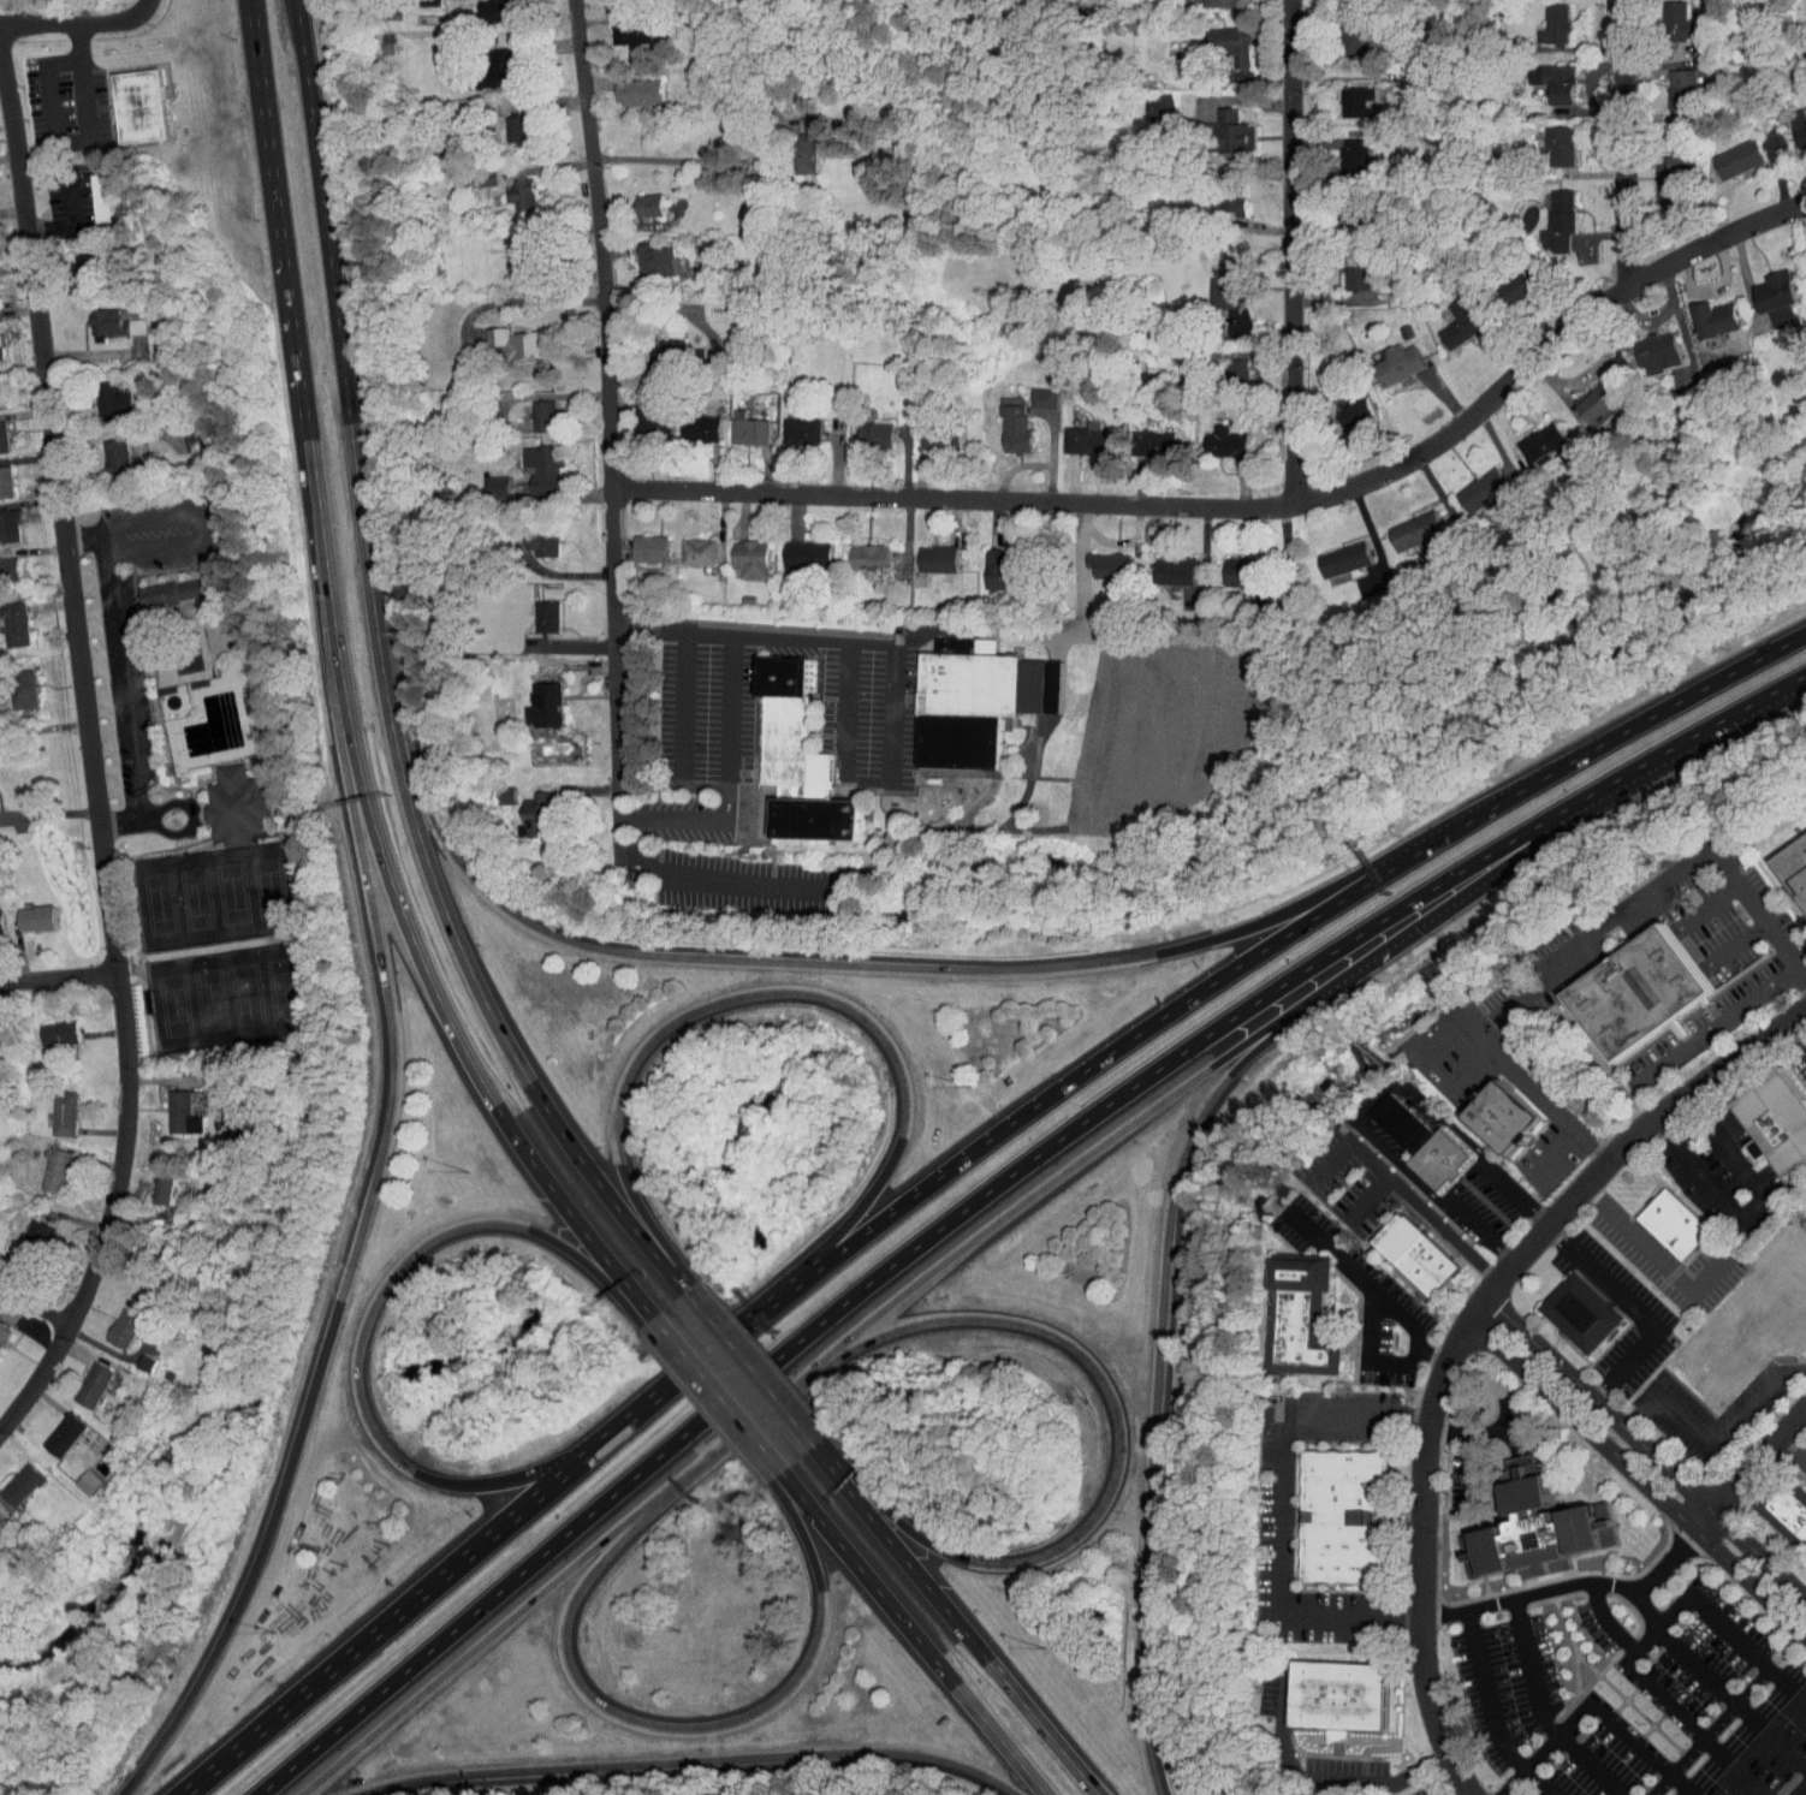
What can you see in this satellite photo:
building: (480, 6)
building: (1665, 17)
building: (1540, 18)
road: (77, 22)
building: (617, 22)
building: (1338, 26)
building: (1218, 38)
building: (482, 61)
building: (1540, 73)
building: (1669, 82)
building: (624, 84)
building: (1343, 94)
building: (1146, 97)
building: (125, 99)
road: (262, 115)
building: (1790, 120)
building: (501, 123)
building: (1217, 125)
building: (1546, 137)
road: (81, 139)
building: (791, 145)
building: (1341, 145)
road: (1628, 145)
building: (1727, 151)
road: (682, 161)
building: (1656, 173)
building: (506, 186)
building: (91, 189)
building: (635, 198)
building: (1342, 208)
road: (321, 210)
road: (1335, 212)
building: (1545, 215)
road: (70, 219)
road: (1294, 249)
building: (509, 254)
building: (643, 254)
building: (1804, 257)
building: (69, 261)
building: (1344, 265)
building: (1214, 277)
building: (1505, 280)
building: (1764, 290)
building: (1703, 311)
building: (1448, 315)
building: (100, 316)
road: (291, 335)
building: (504, 335)
building: (649, 345)
building: (1645, 345)
building: (1385, 357)
building: (1225, 362)
building: (1029, 391)
building: (99, 393)
building: (1586, 397)
building: (1339, 404)
building: (529, 409)
building: (637, 411)
building: (687, 421)
building: (1000, 421)
building: (736, 423)
building: (788, 423)
building: (861, 427)
building: (1071, 430)
building: (183, 432)
building: (927, 432)
road: (608, 435)
building: (1212, 435)
building: (1139, 436)
building: (1531, 438)
building: (101, 450)
building: (530, 462)
road: (1029, 463)
building: (483, 480)
building: (1471, 483)
road: (1253, 507)
building: (2, 519)
building: (1402, 523)
road: (208, 528)
building: (529, 534)
road: (85, 539)
building: (636, 541)
building: (684, 545)
building: (792, 547)
building: (855, 549)
building: (923, 551)
building: (737, 552)
building: (1331, 552)
building: (1095, 558)
building: (1, 561)
building: (985, 563)
building: (1162, 564)
building: (1225, 564)
building: (160, 584)
road: (369, 588)
road: (323, 601)
building: (534, 610)
building: (6, 617)
building: (951, 637)
road: (819, 638)
road: (1781, 647)
parking lot: (125, 679)
road: (124, 680)
building: (10, 682)
road: (1789, 682)
building: (964, 697)
building: (531, 699)
road: (679, 700)
road: (731, 705)
road: (849, 706)
road: (1635, 724)
road: (1685, 738)
building: (801, 759)
road: (93, 760)
building: (491, 787)
building: (239, 806)
building: (523, 809)
road: (49, 813)
road: (129, 813)
road: (191, 819)
road: (1465, 824)
road: (129, 825)
road: (1549, 833)
building: (1793, 868)
road: (1668, 878)
road: (720, 880)
park: (209, 893)
building: (22, 911)
road: (1285, 911)
road: (447, 922)
road: (1403, 932)
road: (410, 938)
road: (729, 959)
road: (58, 979)
building: (1640, 991)
park: (228, 993)
road: (753, 993)
road: (1716, 1023)
building: (43, 1026)
road: (393, 1033)
road: (1477, 1034)
road: (1796, 1034)
road: (1089, 1065)
road: (1372, 1098)
building: (49, 1106)
building: (167, 1106)
building: (1502, 1116)
building: (1777, 1119)
building: (1402, 1123)
road: (1553, 1154)
building: (1438, 1159)
building: (42, 1164)
road: (1053, 1175)
building: (150, 1184)
road: (602, 1188)
road: (1401, 1188)
road: (1366, 1195)
road: (1749, 1207)
road: (571, 1214)
road: (848, 1222)
building: (1675, 1223)
road: (652, 1226)
building: (23, 1231)
building: (1418, 1252)
road: (1652, 1252)
road: (901, 1256)
road: (595, 1270)
road: (1368, 1284)
road: (688, 1291)
road: (34, 1304)
road: (372, 1304)
road: (1638, 1306)
building: (1584, 1313)
building: (1301, 1316)
building: (111, 1319)
road: (1460, 1333)
road: (1370, 1355)
building: (132, 1356)
road: (1089, 1363)
road: (749, 1366)
road: (1156, 1369)
road: (690, 1371)
building: (78, 1379)
road: (713, 1393)
road: (1758, 1396)
road: (1669, 1407)
building: (49, 1428)
road: (1473, 1431)
road: (725, 1443)
road: (813, 1443)
road: (1645, 1450)
road: (1790, 1452)
road: (1749, 1467)
road: (1471, 1472)
building: (11, 1475)
building: (73, 1476)
road: (1638, 1476)
road: (506, 1479)
building: (1784, 1505)
road: (1281, 1510)
road: (887, 1511)
building: (1344, 1515)
road: (798, 1526)
building: (1537, 1527)
road: (902, 1555)
road: (259, 1559)
road: (863, 1574)
road: (1528, 1595)
road: (390, 1621)
road: (1717, 1622)
road: (470, 1651)
road: (1685, 1654)
building: (1338, 1696)
road: (1665, 1698)
road: (1592, 1707)
road: (1491, 1713)
road: (1540, 1713)
road: (635, 1719)
road: (1041, 1728)
road: (999, 1740)
road: (685, 1761)
road: (1320, 1781)
road: (1461, 1790)
road: (1801, 1790)

